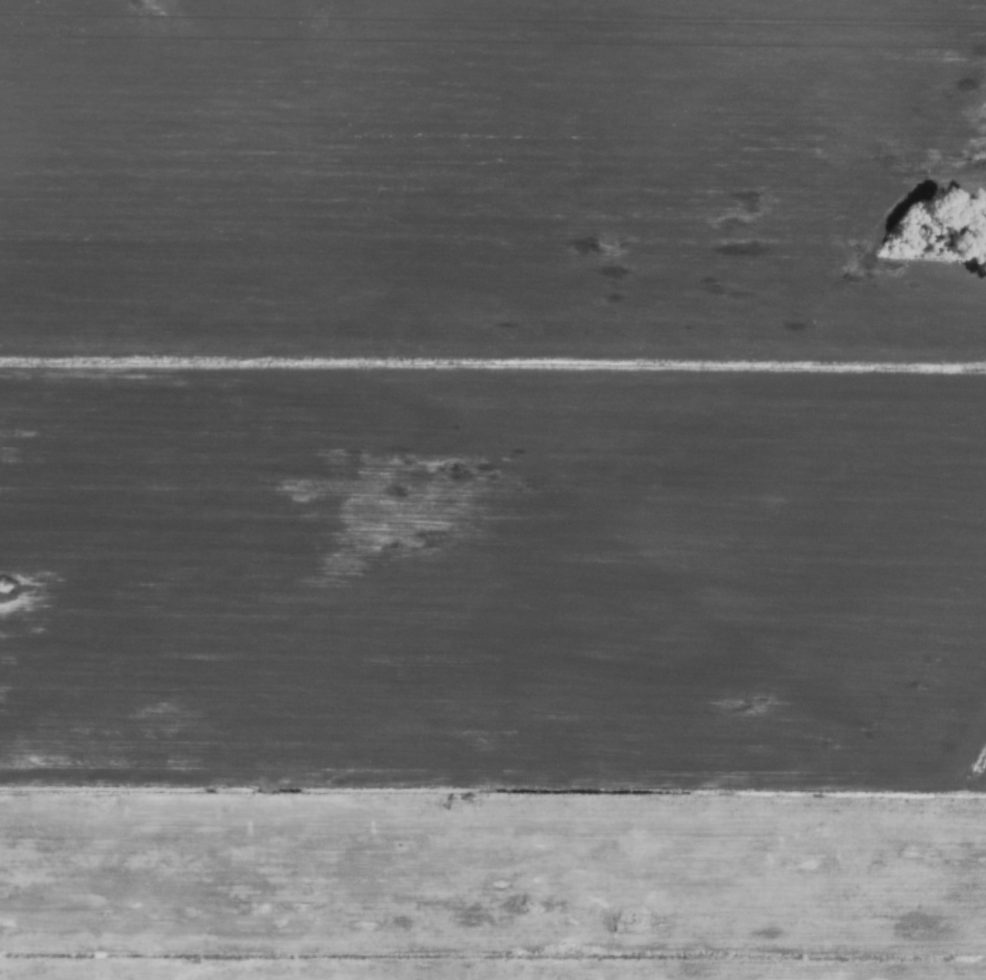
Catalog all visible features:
crop: (493, 490)

